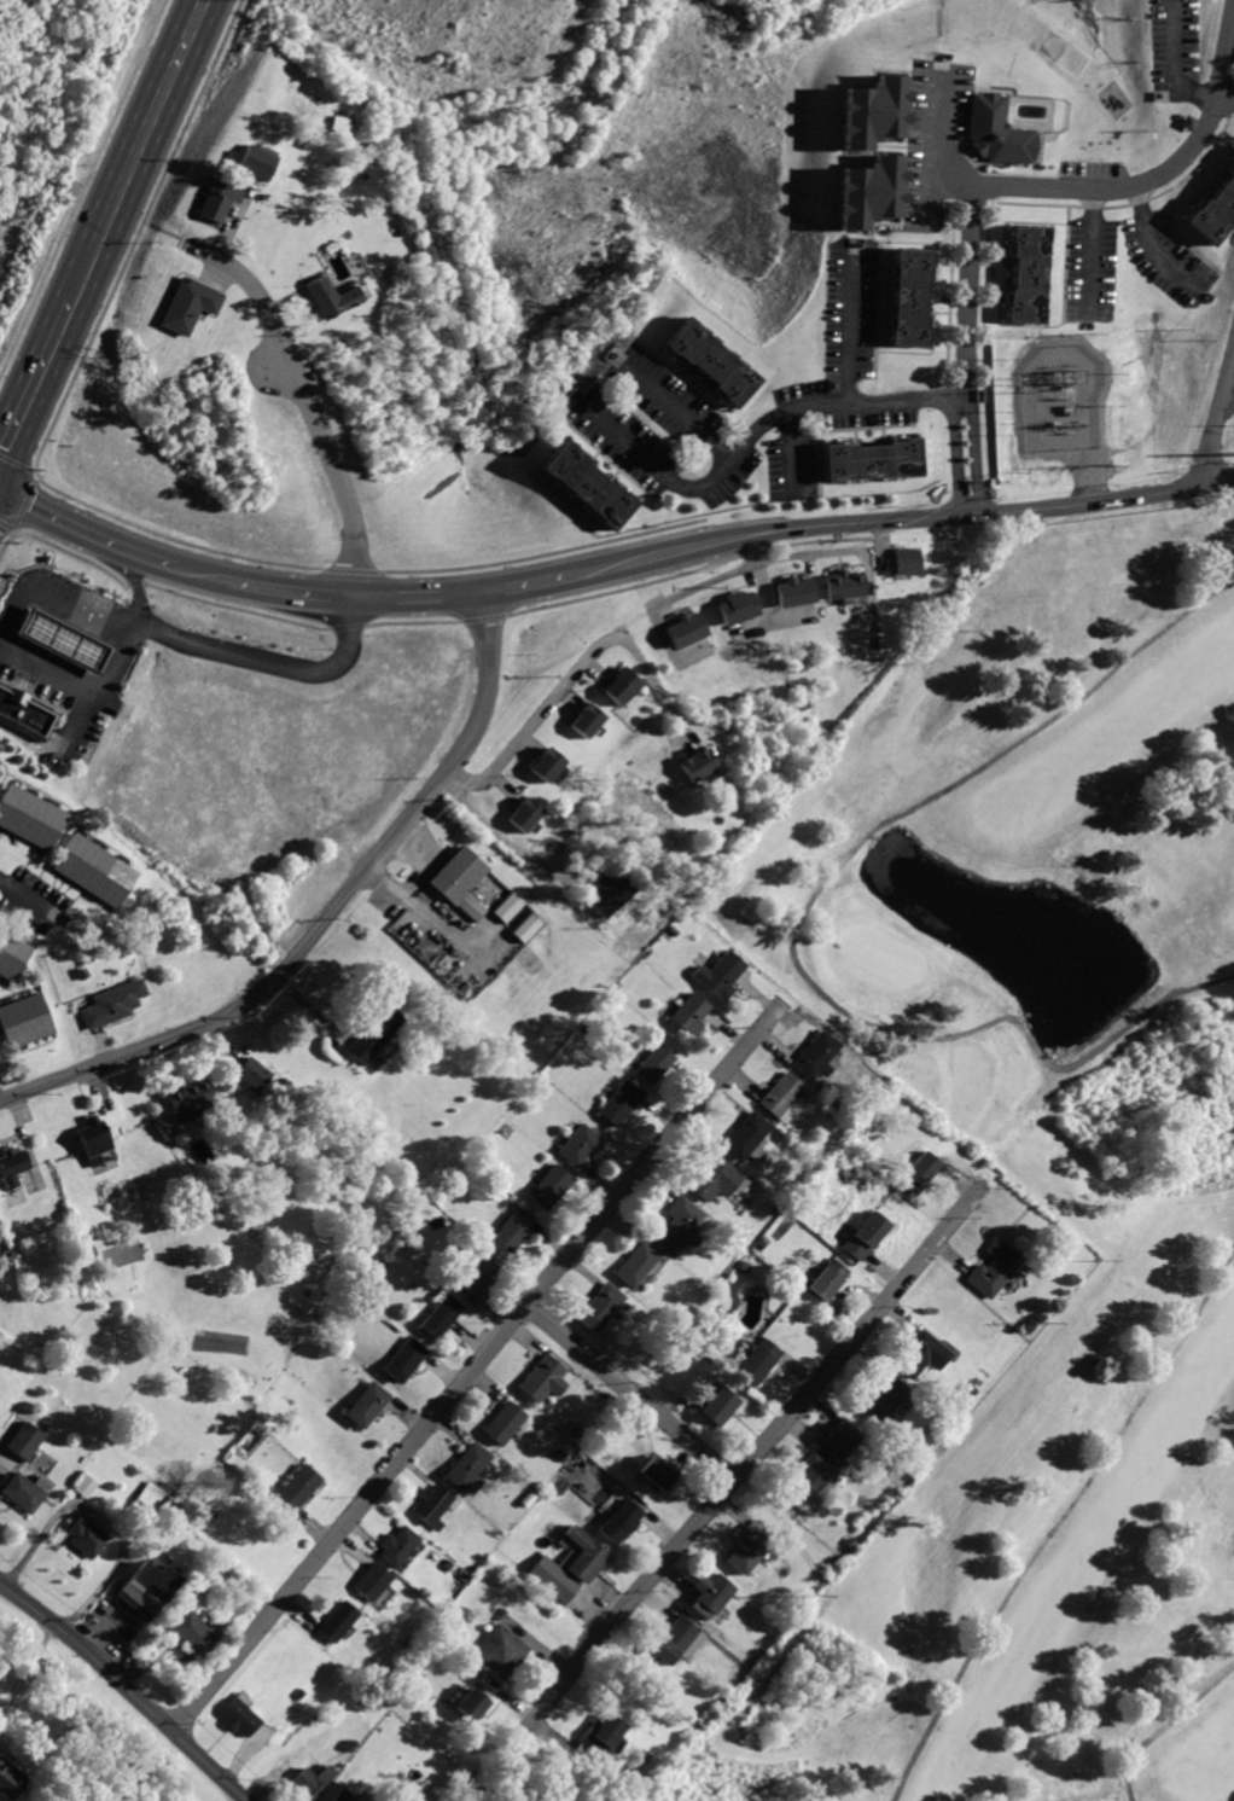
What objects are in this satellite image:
park: (1059, 52)
road: (1186, 60)
road: (1227, 98)
building: (871, 116)
building: (991, 130)
road: (146, 139)
road: (931, 146)
building: (256, 161)
road: (951, 169)
building: (1232, 169)
road: (1149, 180)
road: (85, 185)
building: (867, 192)
building: (217, 199)
building: (1215, 214)
road: (164, 228)
road: (136, 238)
road: (182, 238)
road: (1156, 243)
road: (1094, 249)
building: (1026, 273)
building: (327, 296)
building: (906, 296)
road: (968, 296)
building: (190, 303)
road: (849, 330)
building: (709, 359)
road: (42, 367)
road: (308, 397)
road: (1229, 397)
road: (838, 402)
power substation: (1060, 406)
road: (673, 408)
road: (1218, 418)
park: (1223, 436)
road: (956, 454)
road: (973, 454)
road: (790, 459)
building: (869, 459)
road: (14, 461)
road: (652, 464)
road: (33, 467)
road: (37, 480)
building: (588, 483)
road: (23, 504)
road: (970, 506)
road: (57, 516)
road: (903, 516)
road: (6, 524)
road: (14, 530)
road: (124, 546)
road: (752, 548)
road: (152, 558)
building: (906, 560)
road: (753, 565)
road: (198, 571)
road: (528, 582)
building: (840, 582)
road: (273, 588)
building: (793, 591)
road: (336, 594)
road: (415, 594)
road: (869, 602)
building: (735, 605)
road: (774, 608)
road: (763, 612)
road: (134, 624)
building: (685, 628)
building: (58, 640)
gas station: (58, 640)
road: (126, 640)
road: (239, 655)
road: (673, 656)
road: (653, 678)
building: (621, 686)
building: (24, 715)
road: (75, 720)
building: (586, 720)
road: (528, 731)
building: (695, 763)
building: (546, 765)
building: (0, 771)
building: (523, 814)
building: (28, 817)
road: (514, 850)
building: (93, 870)
building: (459, 882)
building: (610, 893)
road: (33, 900)
building: (507, 907)
road: (326, 919)
road: (798, 920)
building: (12, 953)
building: (716, 975)
building: (111, 1004)
building: (686, 1011)
building: (22, 1021)
building: (374, 1030)
building: (813, 1056)
building: (653, 1064)
building: (252, 1071)
building: (778, 1096)
building: (188, 1099)
building: (619, 1102)
building: (745, 1135)
building: (92, 1138)
building: (580, 1145)
building: (10, 1166)
park: (1032, 1168)
building: (918, 1174)
building: (711, 1178)
building: (549, 1186)
building: (679, 1224)
building: (514, 1228)
building: (865, 1234)
building: (636, 1263)
building: (993, 1267)
building: (479, 1274)
building: (826, 1278)
building: (599, 1306)
building: (441, 1313)
building: (919, 1352)
building: (404, 1359)
building: (755, 1360)
road: (479, 1363)
building: (543, 1378)
road: (631, 1392)
building: (885, 1395)
building: (368, 1404)
building: (716, 1405)
building: (505, 1422)
building: (21, 1440)
road: (757, 1451)
building: (820, 1462)
building: (467, 1466)
building: (657, 1475)
building: (83, 1486)
building: (297, 1486)
building: (19, 1494)
building: (147, 1494)
building: (433, 1504)
building: (622, 1521)
road: (1061, 1521)
building: (82, 1538)
building: (397, 1545)
building: (749, 1547)
building: (586, 1557)
building: (554, 1580)
building: (368, 1582)
building: (144, 1588)
building: (711, 1593)
building: (334, 1622)
building: (188, 1632)
building: (677, 1642)
building: (500, 1651)
road: (27, 1668)
road: (126, 1690)
building: (468, 1706)
building: (237, 1718)
road: (1165, 1726)
building: (599, 1735)
building: (10, 1780)
building: (308, 1784)
building: (338, 1795)

